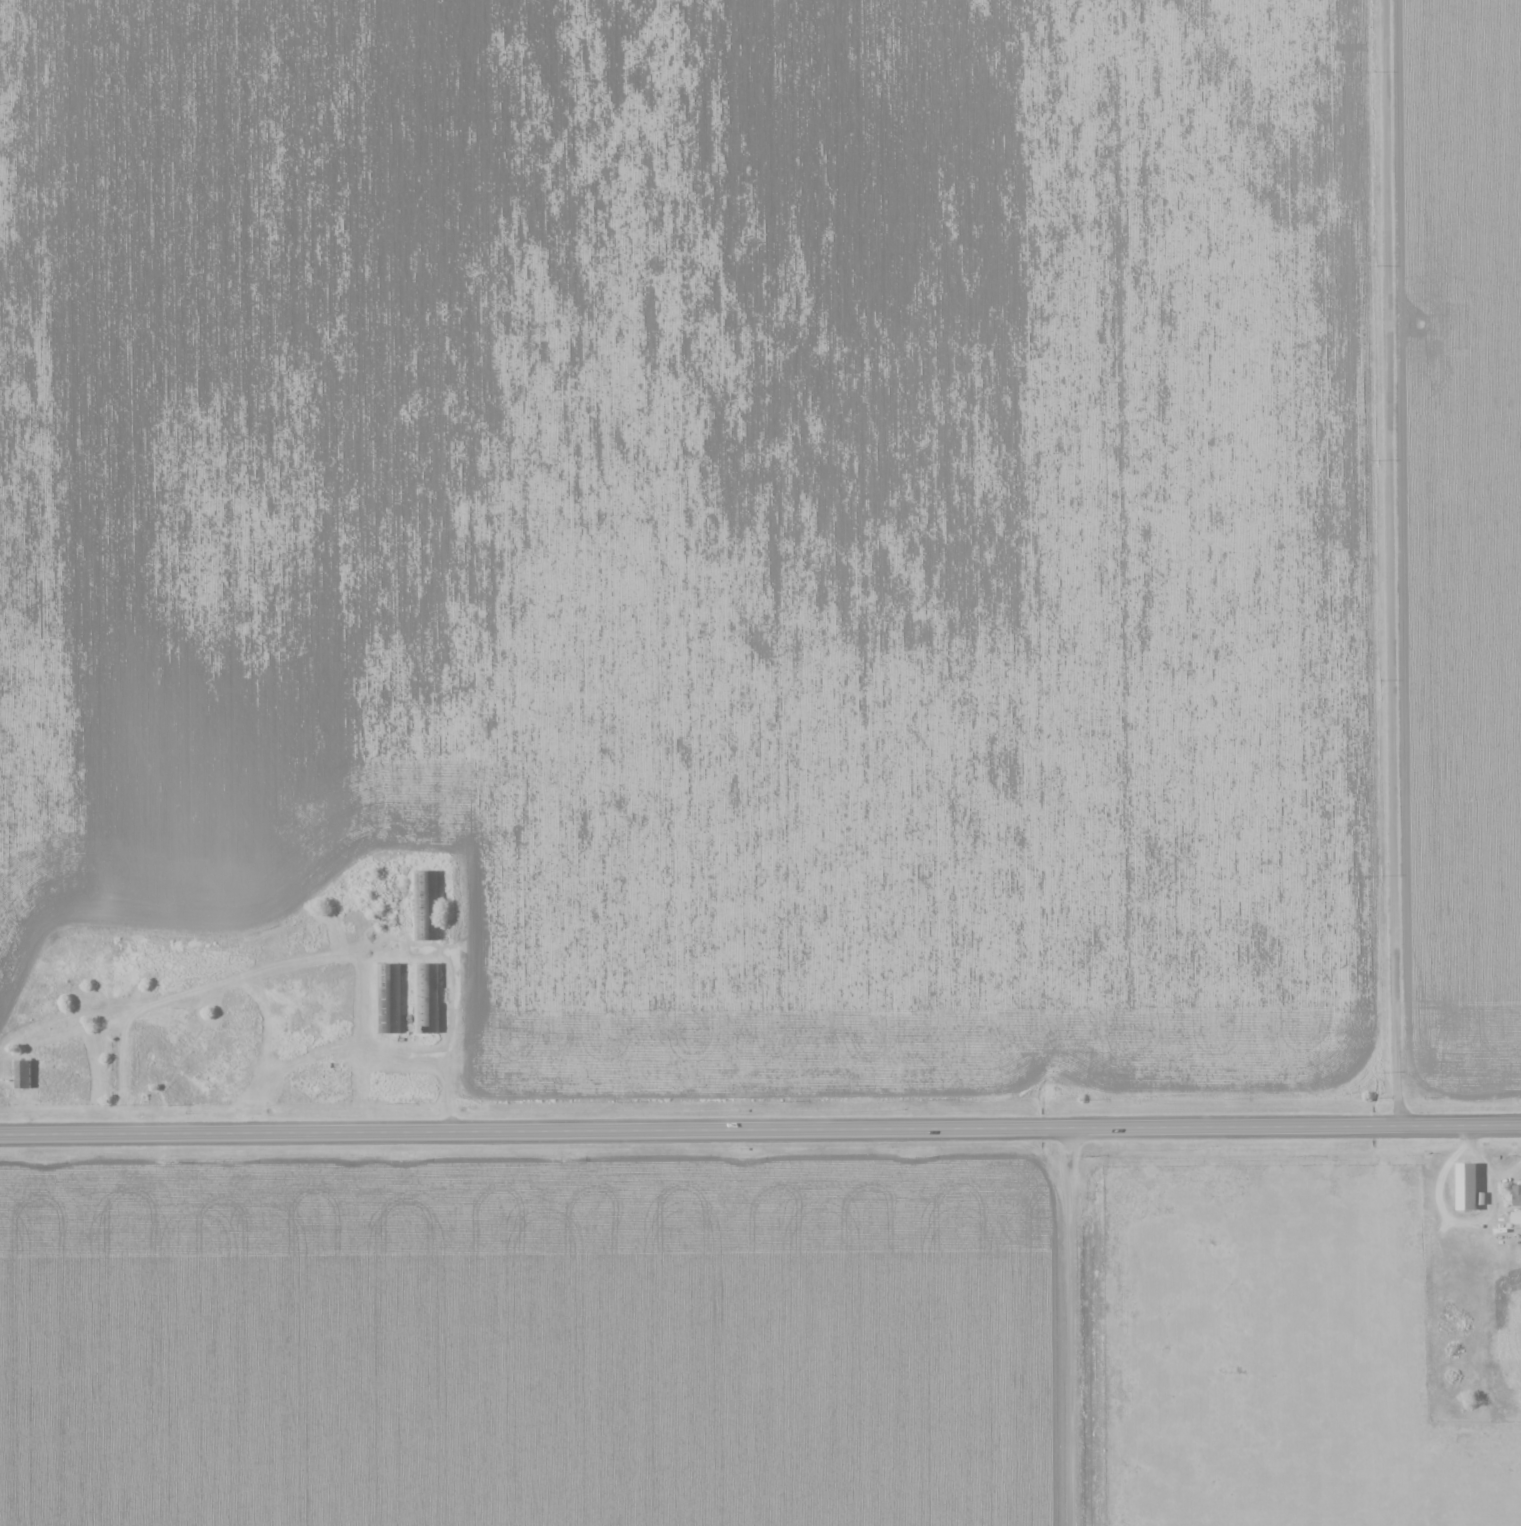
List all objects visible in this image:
road: (1402, 562)
building: (425, 904)
building: (24, 1073)
road: (760, 1129)
building: (1468, 1185)
road: (1065, 1327)

